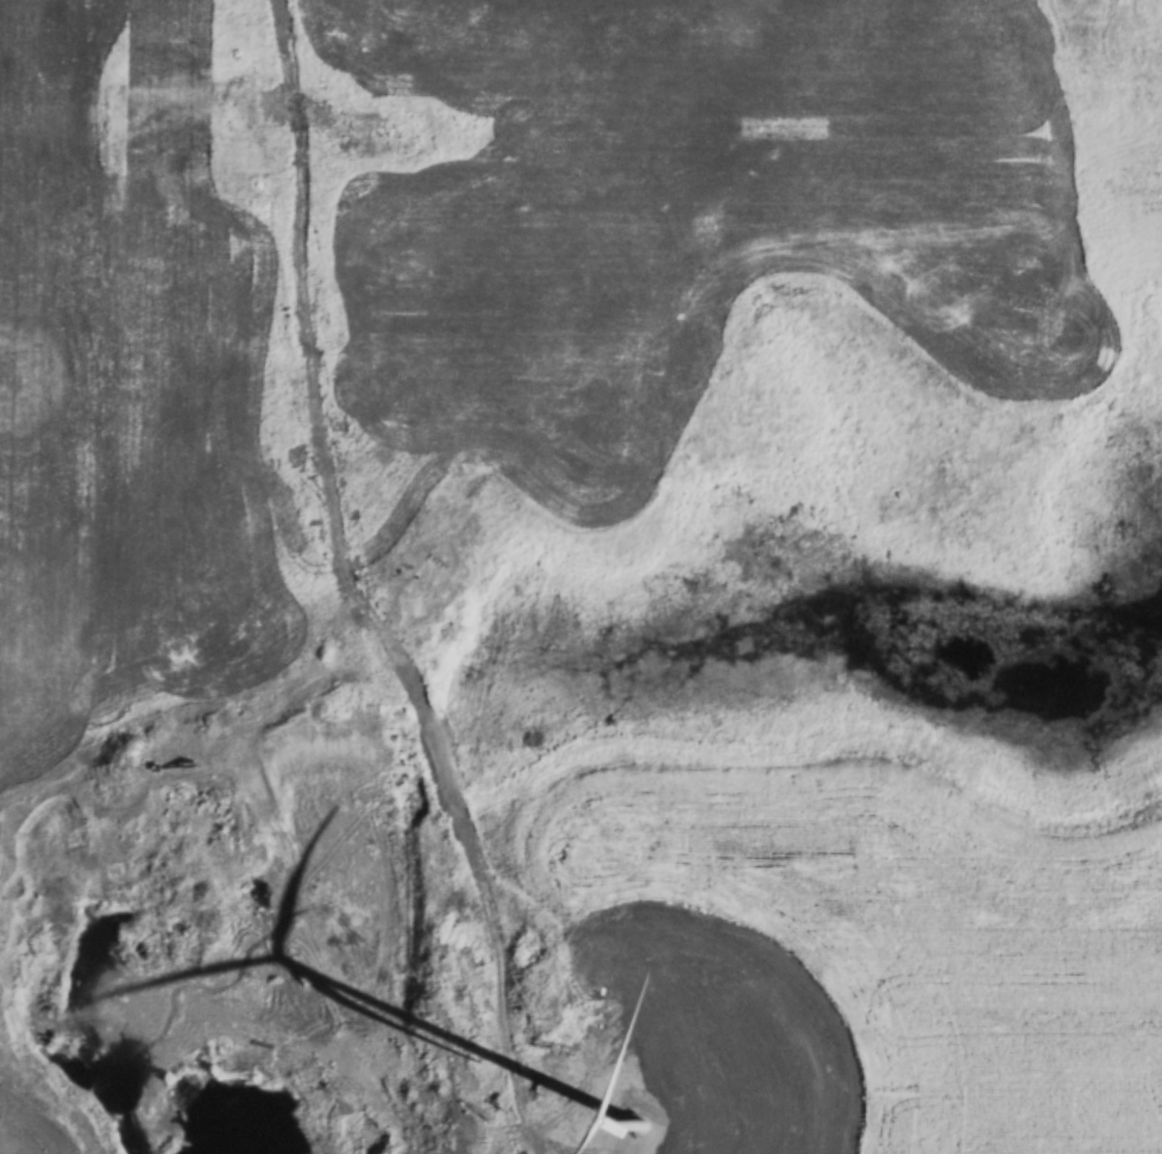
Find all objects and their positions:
wind turbine: (610, 1122)

